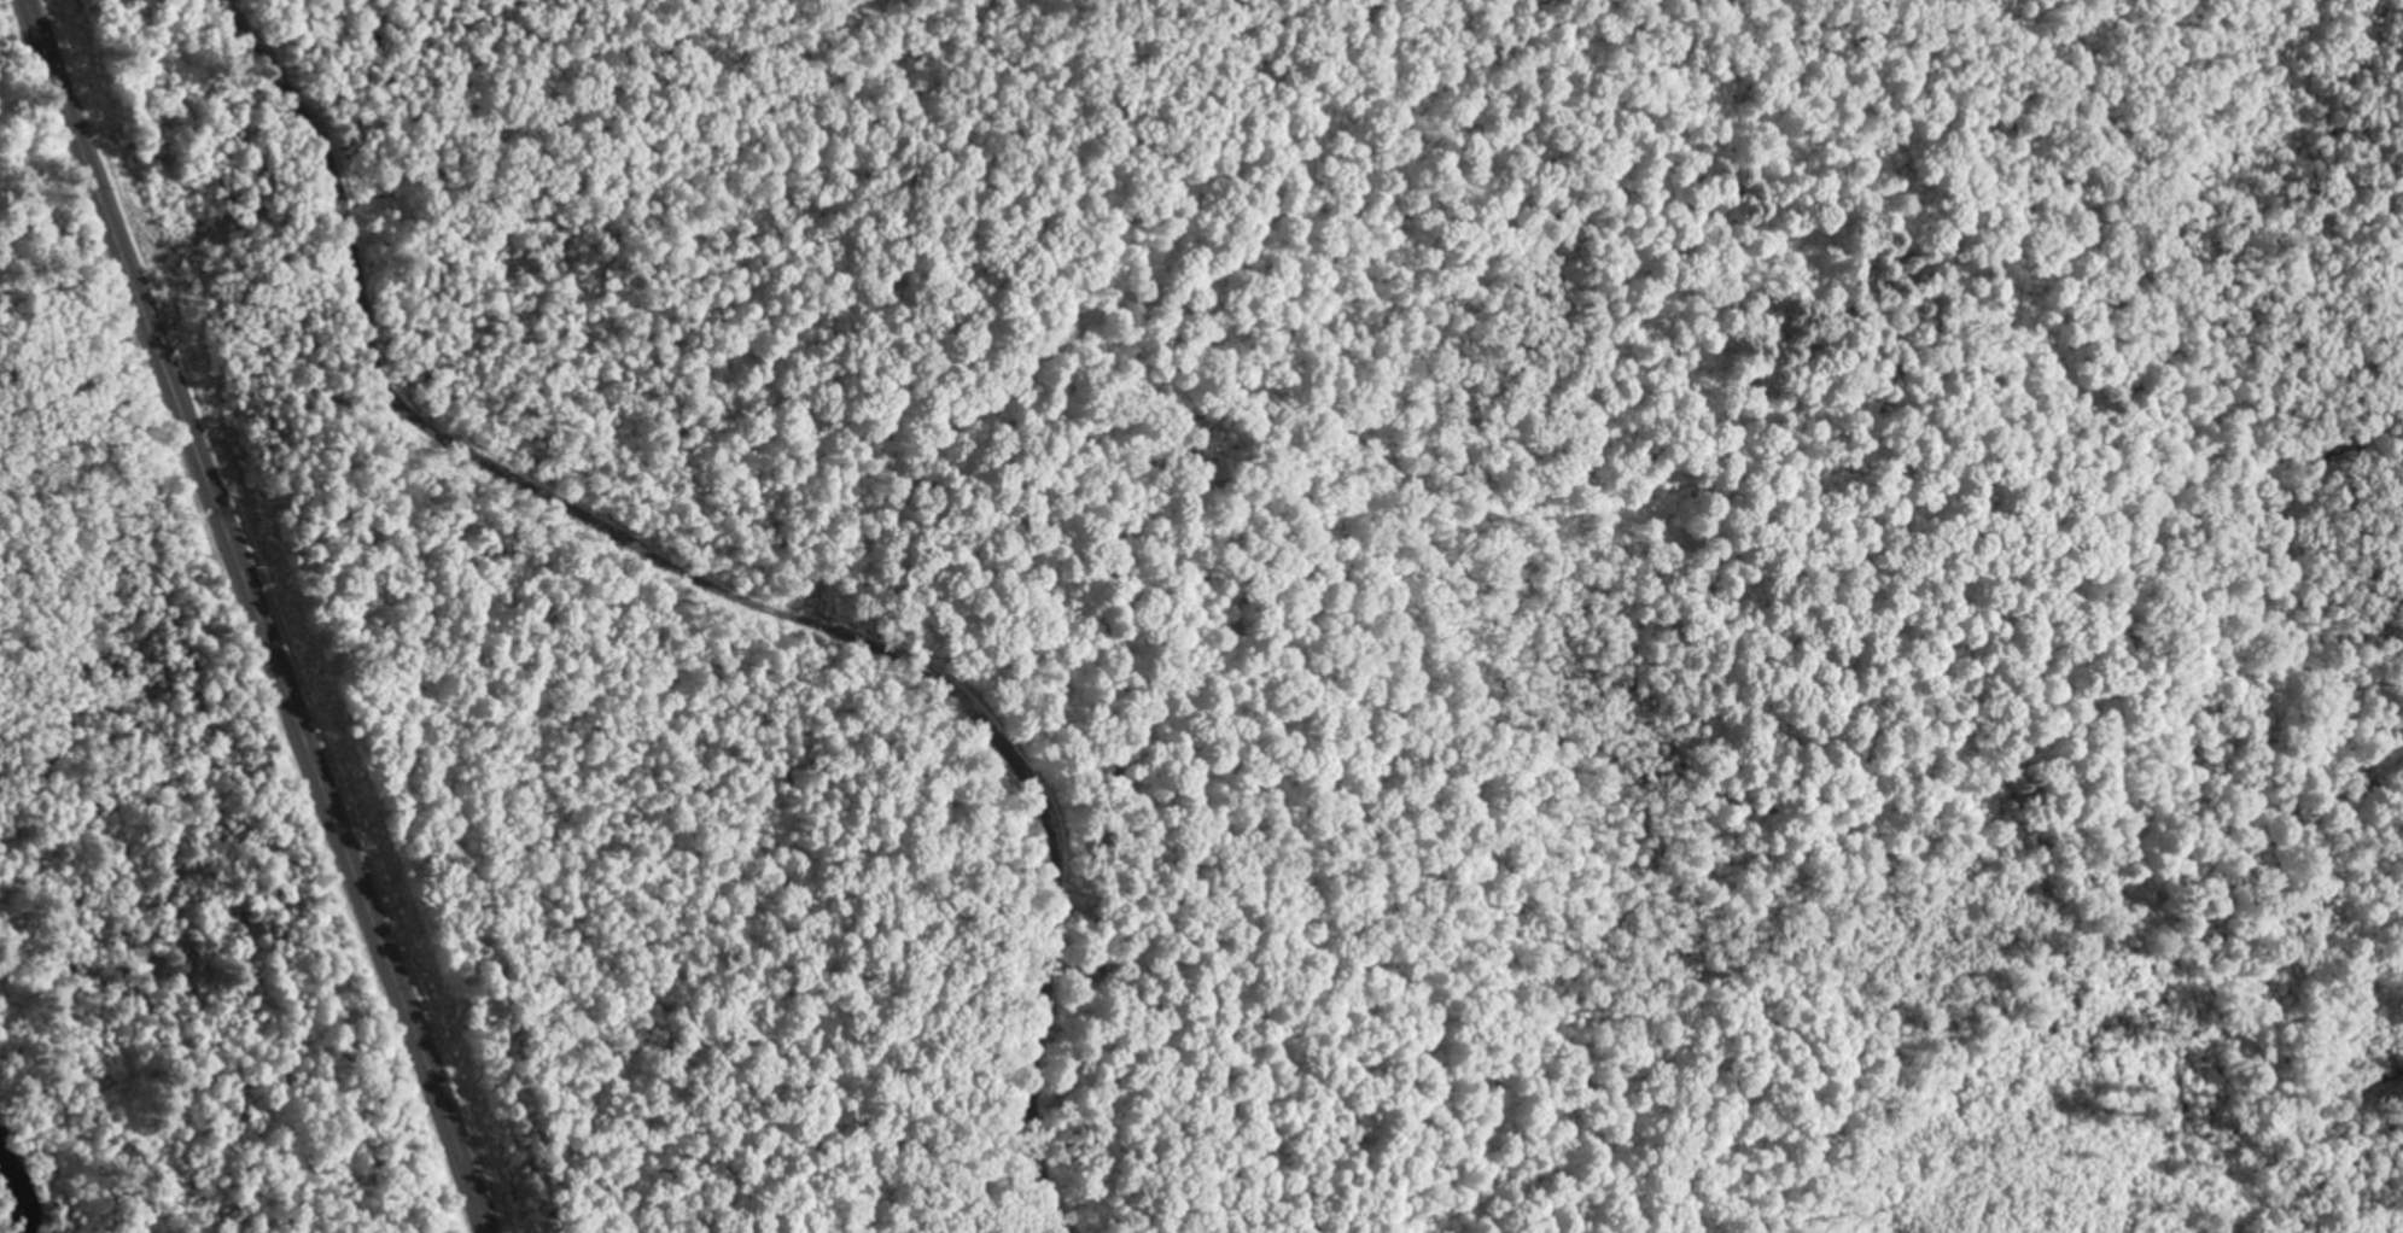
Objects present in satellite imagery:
road: (257, 615)

